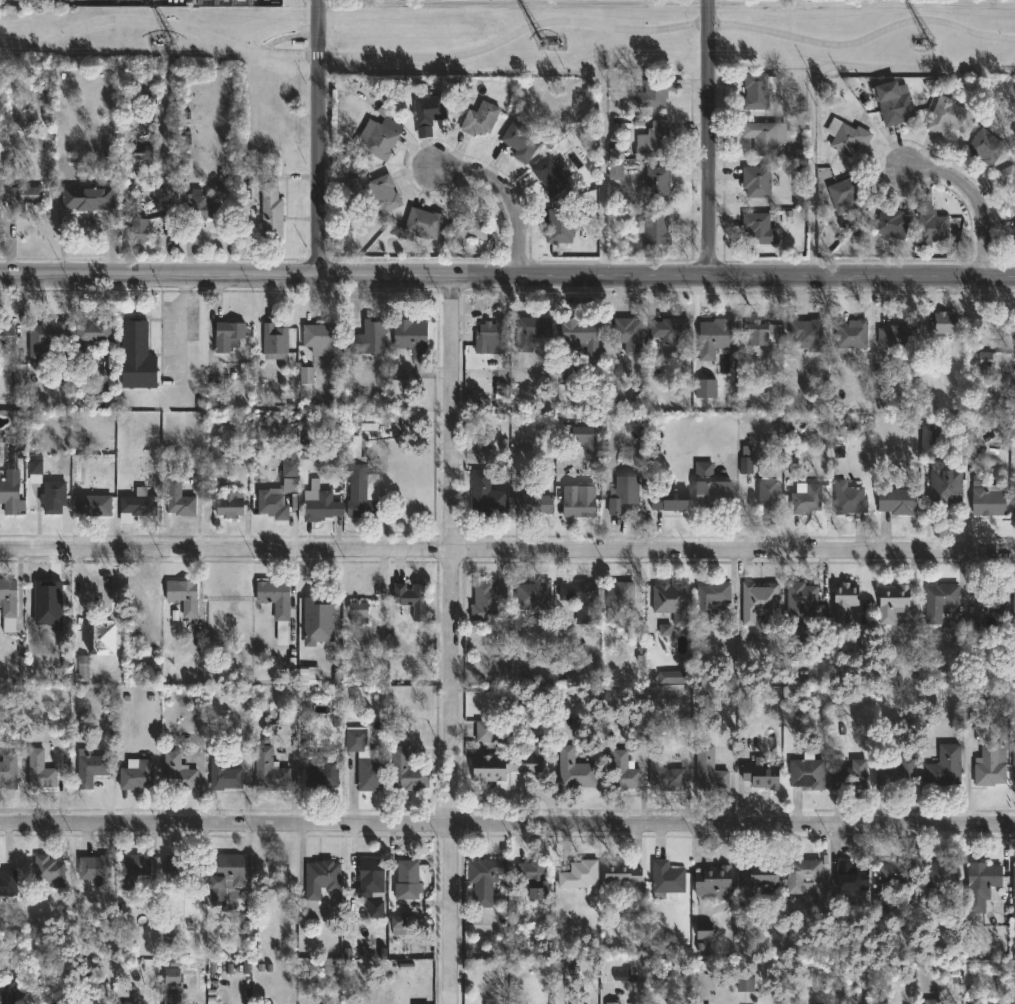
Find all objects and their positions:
road: (513, 1)
road: (506, 35)
power tower: (925, 42)
power tower: (163, 46)
power tower: (547, 46)
building: (656, 90)
building: (756, 90)
building: (892, 103)
building: (427, 109)
building: (944, 115)
building: (478, 118)
building: (23, 120)
road: (316, 136)
building: (846, 136)
road: (707, 137)
building: (761, 137)
building: (657, 138)
building: (379, 141)
building: (519, 141)
building: (985, 147)
building: (142, 152)
building: (794, 155)
building: (1007, 176)
building: (549, 177)
building: (755, 180)
building: (656, 183)
building: (18, 189)
road: (512, 192)
building: (383, 194)
road: (977, 194)
building: (844, 196)
building: (85, 197)
building: (197, 205)
building: (166, 210)
building: (273, 210)
building: (891, 223)
building: (420, 224)
building: (465, 225)
building: (558, 225)
building: (656, 227)
building: (759, 227)
building: (932, 227)
building: (140, 229)
building: (1013, 230)
road: (507, 273)
building: (940, 323)
road: (180, 327)
building: (668, 330)
building: (93, 331)
building: (529, 331)
building: (492, 332)
building: (750, 333)
building: (626, 334)
building: (806, 334)
building: (226, 335)
building: (578, 335)
building: (850, 335)
building: (408, 336)
building: (895, 336)
building: (7, 337)
building: (324, 337)
building: (369, 337)
building: (713, 337)
building: (42, 338)
building: (270, 341)
building: (137, 356)
building: (985, 362)
building: (306, 374)
building: (20, 376)
building: (400, 387)
building: (705, 388)
building: (983, 420)
building: (582, 437)
building: (928, 439)
building: (354, 450)
building: (216, 454)
building: (525, 462)
building: (745, 465)
building: (36, 468)
building: (289, 468)
building: (715, 484)
building: (945, 486)
building: (766, 490)
building: (360, 493)
building: (621, 493)
building: (485, 495)
building: (985, 495)
building: (54, 496)
building: (10, 497)
building: (806, 497)
building: (179, 498)
building: (667, 498)
building: (275, 499)
building: (579, 499)
building: (847, 499)
building: (895, 501)
building: (1013, 502)
building: (320, 503)
building: (530, 503)
building: (227, 504)
building: (91, 505)
building: (137, 505)
road: (507, 551)
building: (39, 595)
building: (184, 595)
building: (535, 595)
building: (579, 595)
building: (412, 598)
building: (620, 598)
building: (709, 599)
building: (843, 599)
building: (992, 599)
building: (672, 601)
building: (890, 601)
building: (938, 601)
building: (487, 602)
building: (798, 602)
building: (9, 603)
building: (274, 604)
building: (759, 604)
building: (1013, 608)
building: (360, 612)
building: (318, 614)
building: (971, 623)
building: (665, 629)
building: (102, 634)
road: (453, 638)
building: (82, 666)
building: (308, 675)
building: (666, 677)
building: (482, 731)
building: (364, 760)
building: (1013, 763)
building: (503, 765)
building: (990, 765)
building: (943, 766)
building: (91, 768)
building: (270, 769)
building: (708, 769)
building: (41, 770)
building: (573, 770)
building: (9, 771)
building: (176, 771)
building: (408, 771)
building: (318, 772)
building: (621, 772)
building: (664, 772)
building: (805, 772)
building: (138, 773)
building: (224, 773)
building: (894, 774)
building: (758, 775)
building: (849, 775)
road: (507, 822)
building: (92, 866)
building: (132, 868)
building: (184, 868)
building: (47, 869)
building: (230, 871)
building: (758, 872)
building: (534, 873)
building: (621, 873)
building: (409, 874)
building: (579, 874)
building: (942, 874)
building: (800, 875)
building: (851, 875)
building: (487, 878)
building: (665, 878)
building: (321, 880)
building: (712, 880)
building: (7, 881)
building: (887, 881)
building: (980, 884)
building: (373, 885)
building: (1013, 890)
building: (398, 924)
building: (702, 928)
building: (171, 976)
building: (745, 982)
building: (6, 991)
building: (83, 996)
building: (170, 998)
building: (931, 1001)
building: (611, 1002)
building: (126, 1003)
building: (422, 1003)

